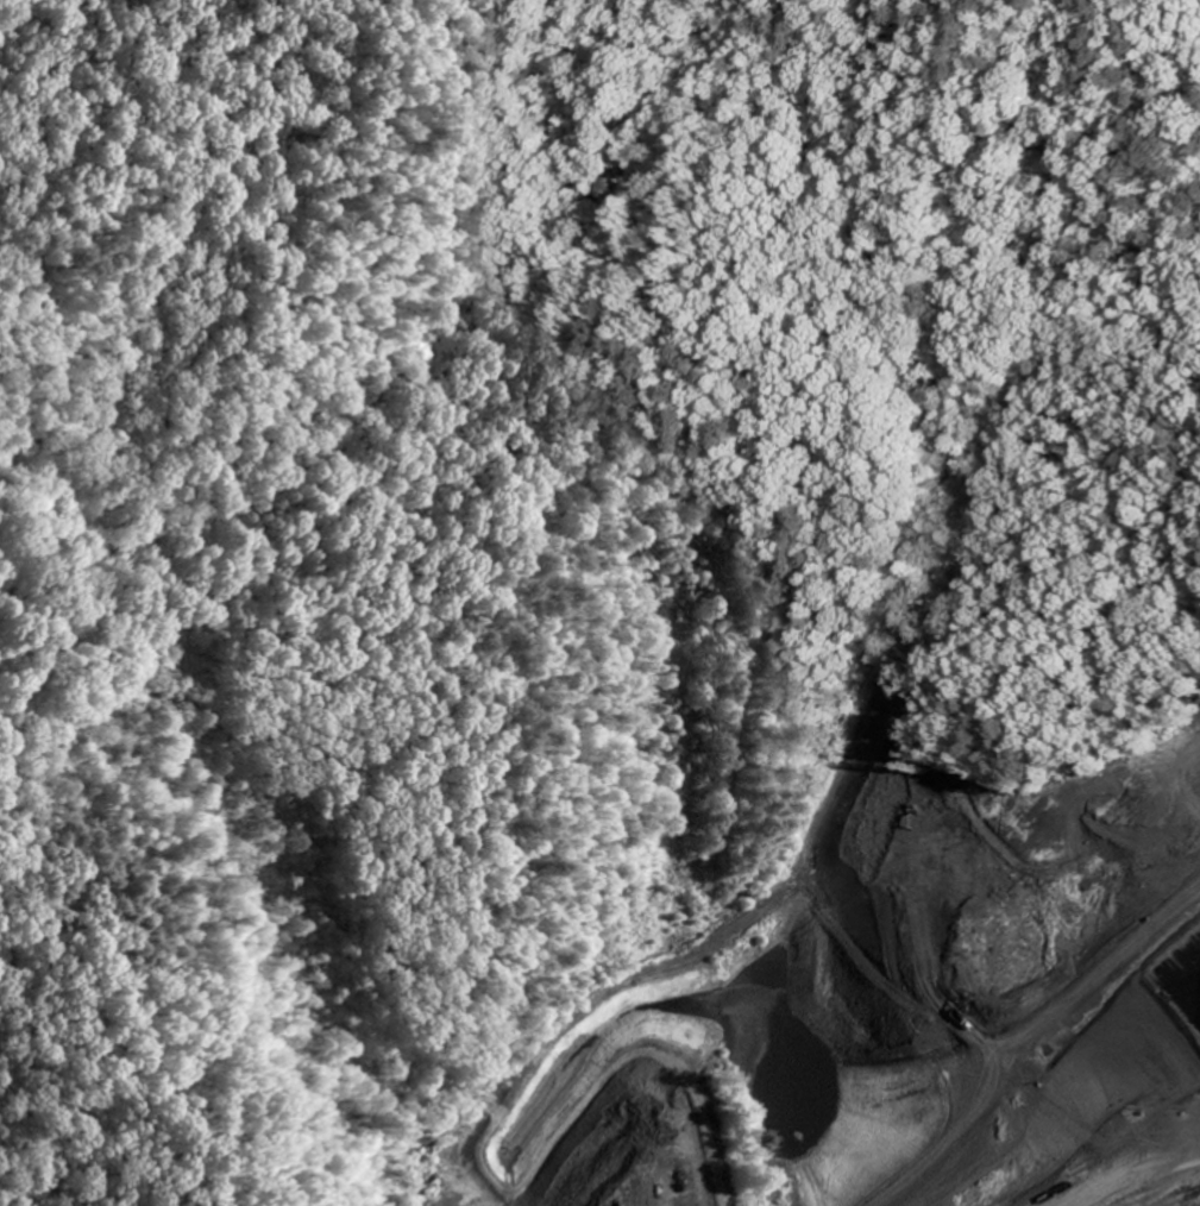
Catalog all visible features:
road: (172, 798)
landfill: (897, 1009)
road: (1022, 1036)

